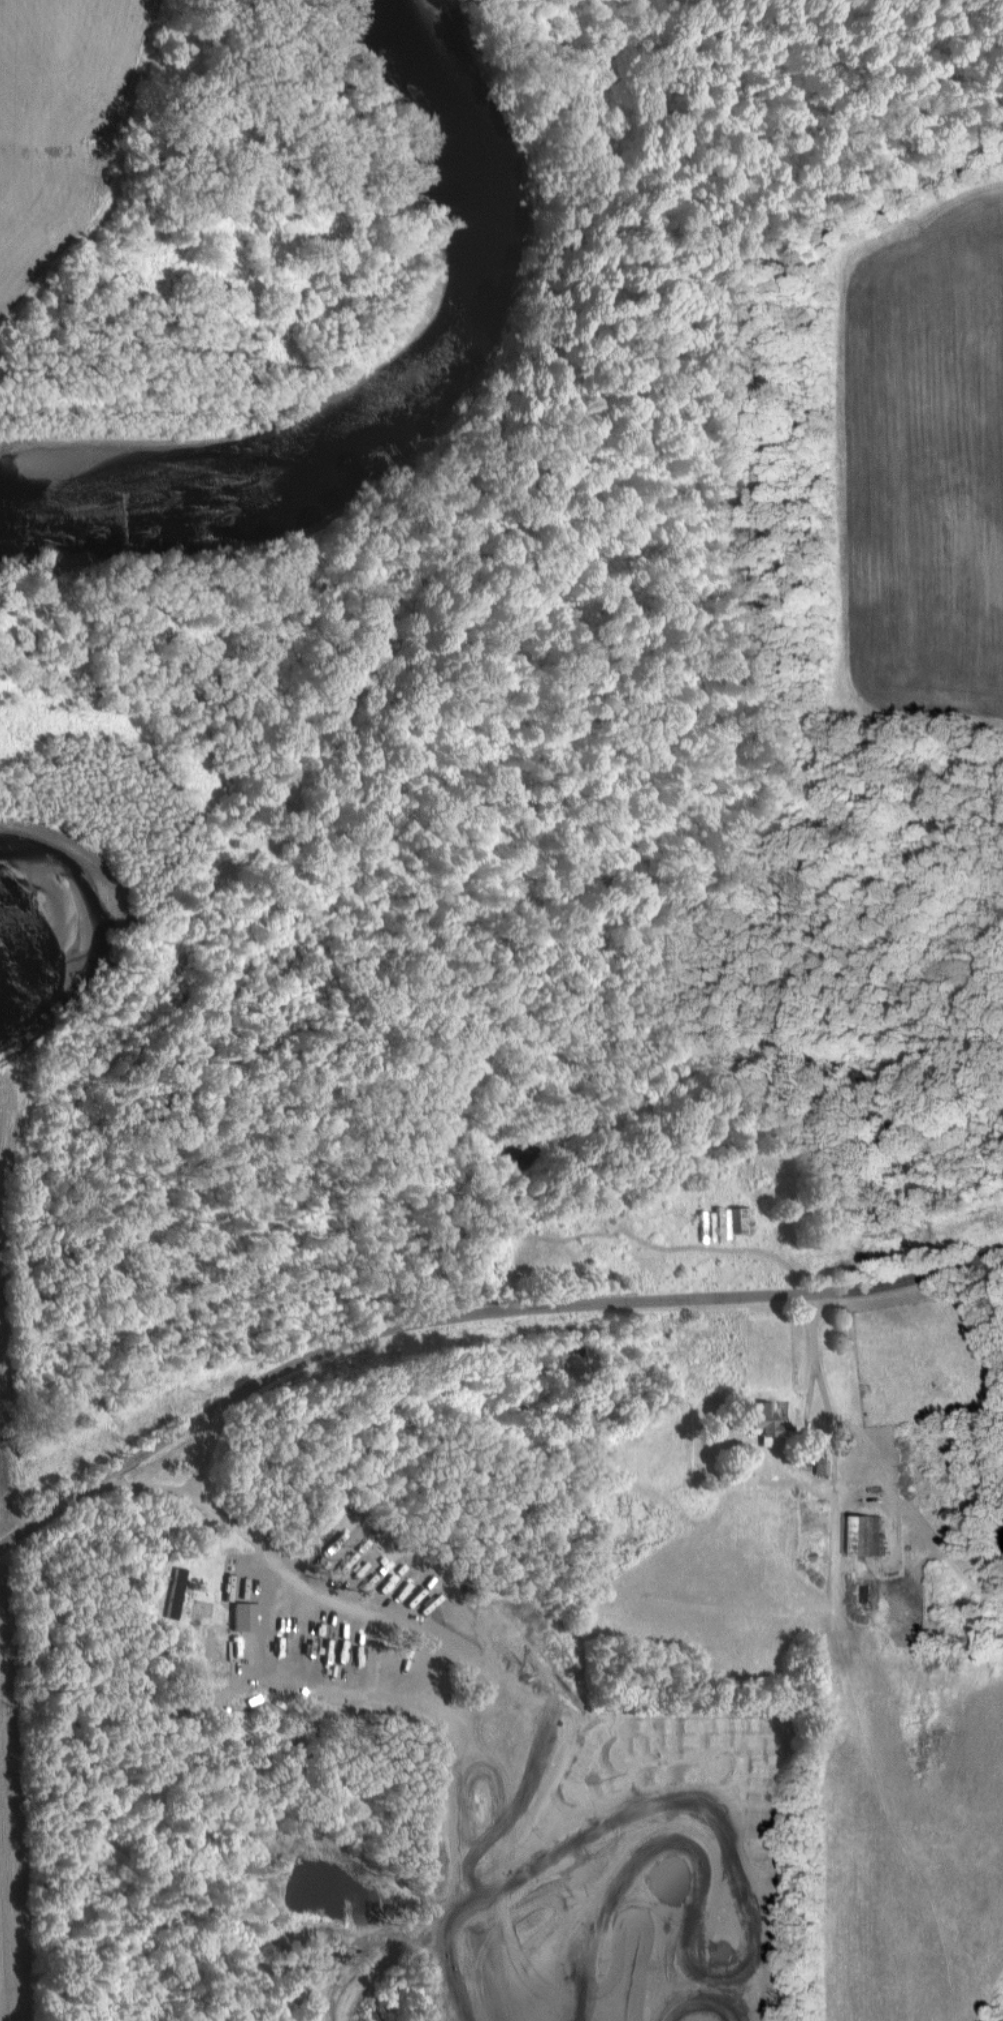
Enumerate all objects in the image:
river: (413, 398)
river: (156, 864)
road: (473, 1310)
road: (813, 1363)
building: (821, 1465)
road: (190, 1492)
building: (331, 1514)
building: (176, 1591)
building: (245, 1614)
road: (268, 1628)
road: (437, 1669)

